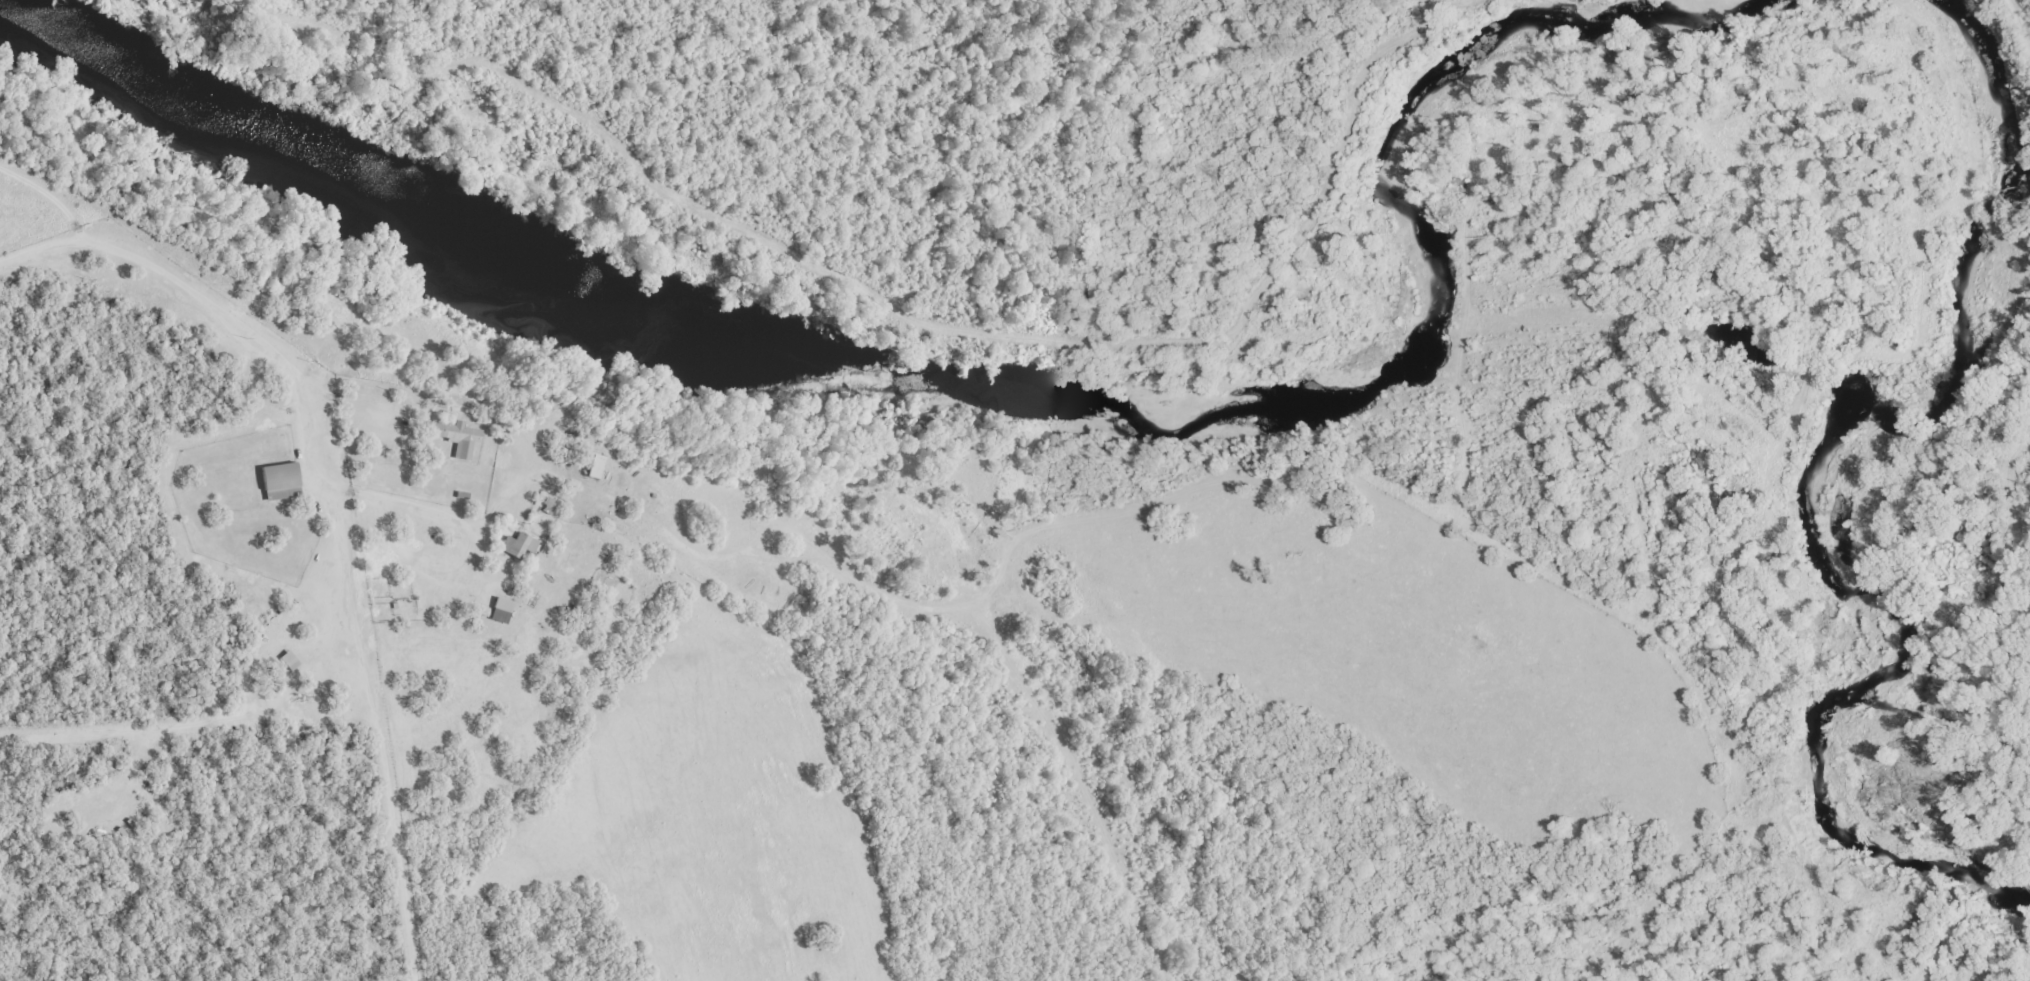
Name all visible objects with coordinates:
road: (2022, 1)
road: (2022, 16)
river: (2008, 105)
river: (1003, 400)
building: (598, 467)
road: (2015, 469)
road: (1291, 480)
building: (283, 482)
road: (342, 504)
road: (667, 526)
building: (498, 610)
river: (1927, 643)

